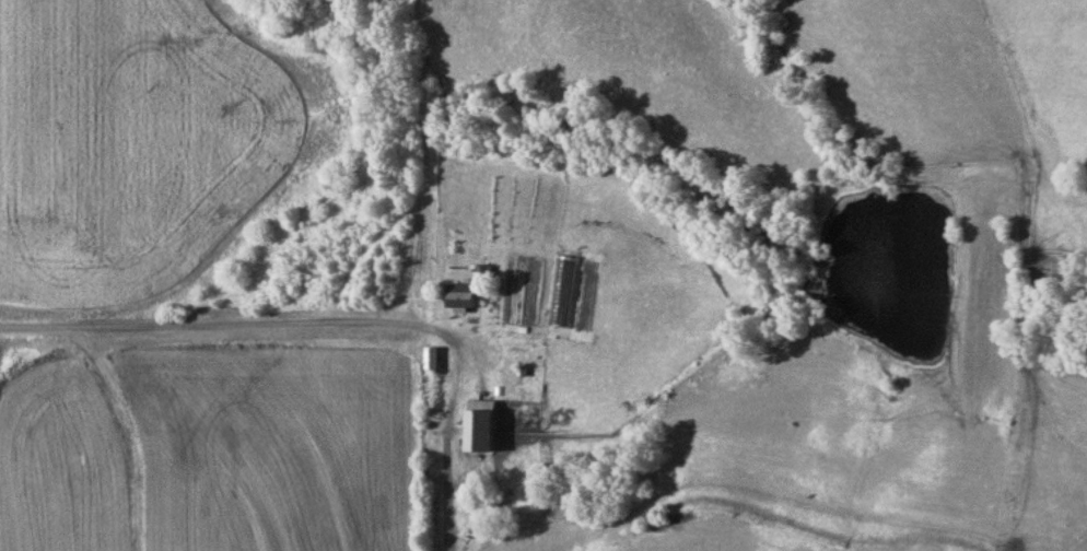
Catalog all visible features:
building: (464, 296)
building: (513, 306)
road: (331, 323)
road: (128, 438)

